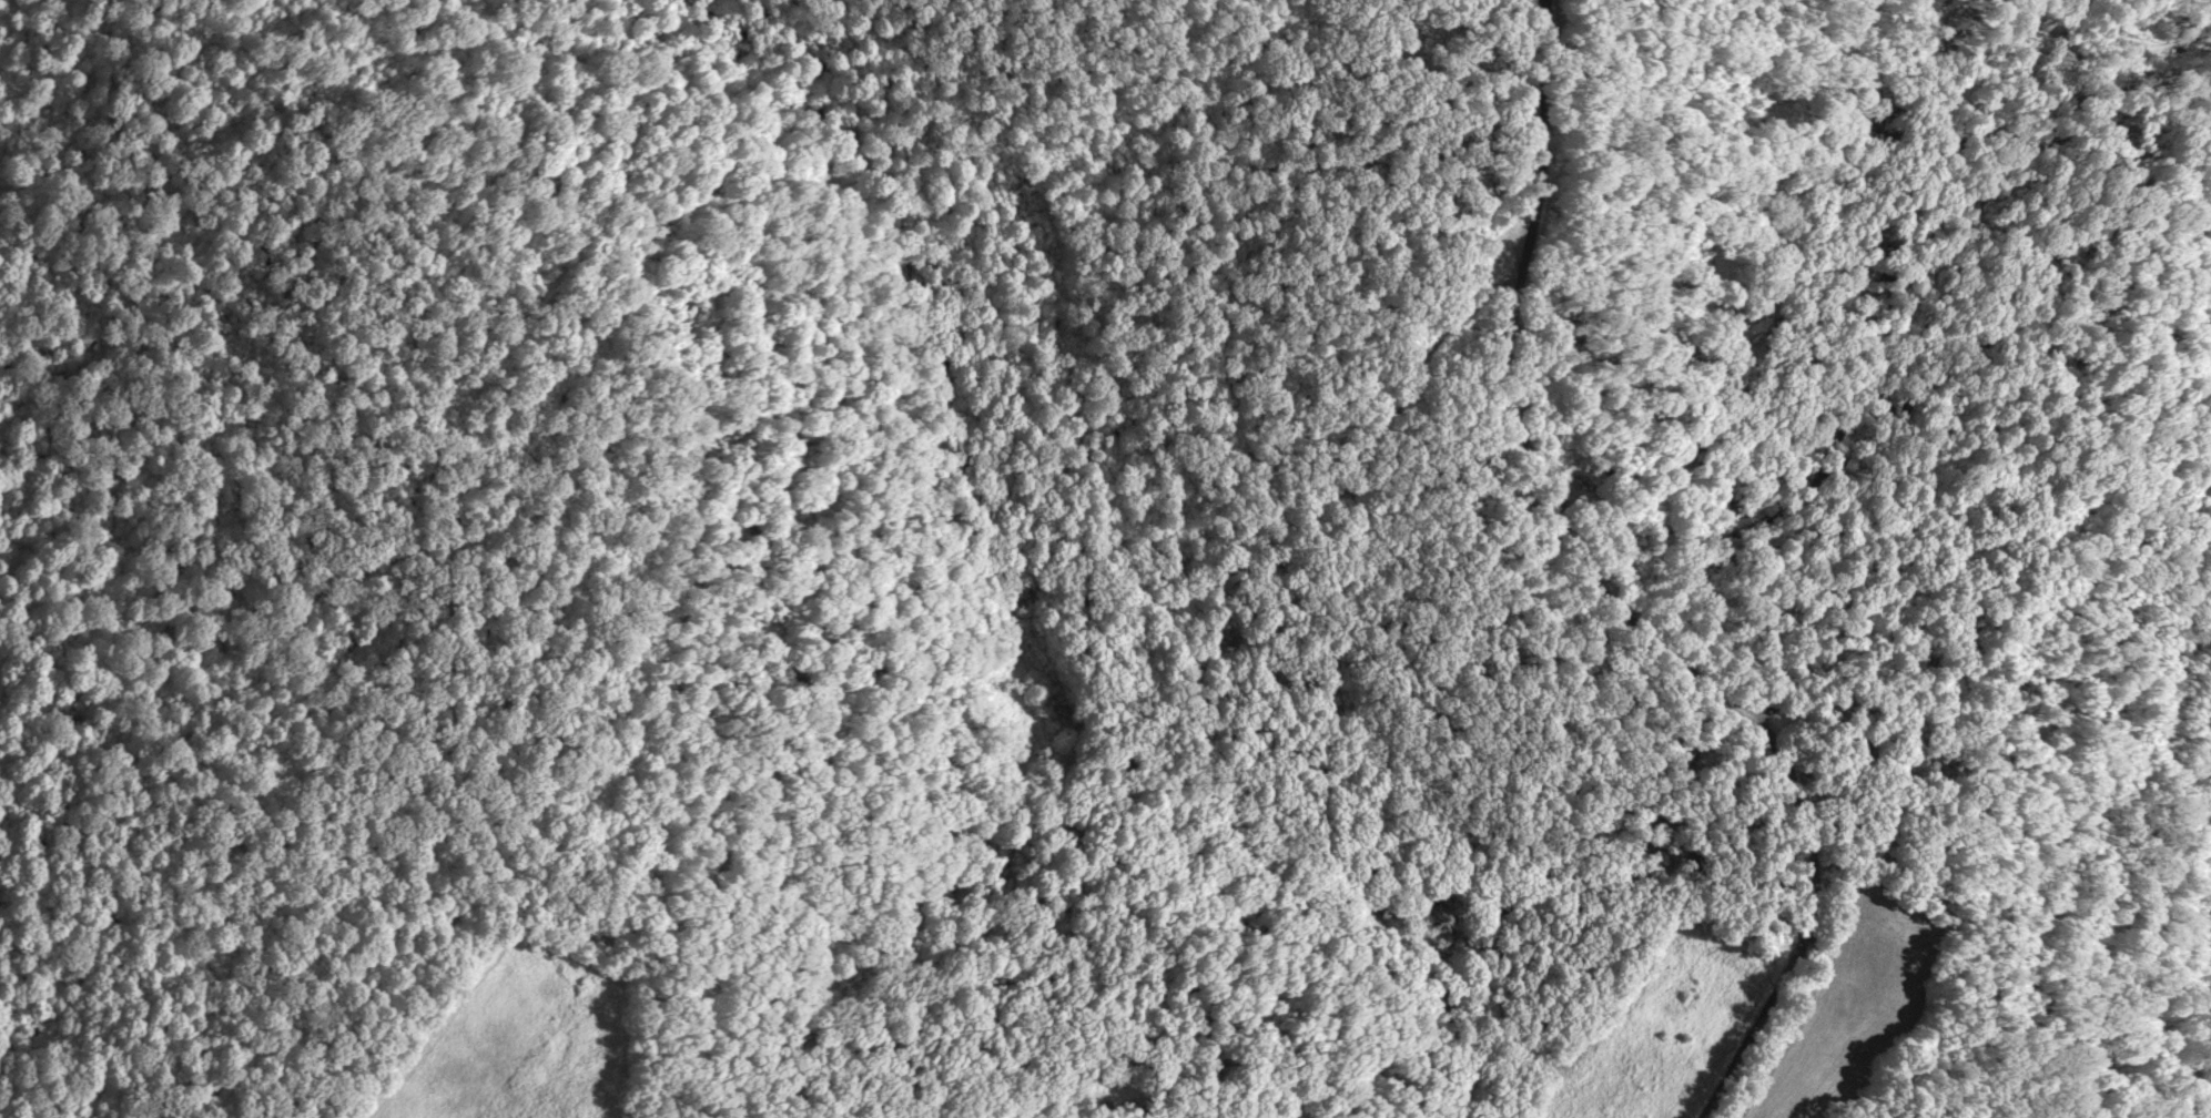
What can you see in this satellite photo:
road: (1601, 588)

